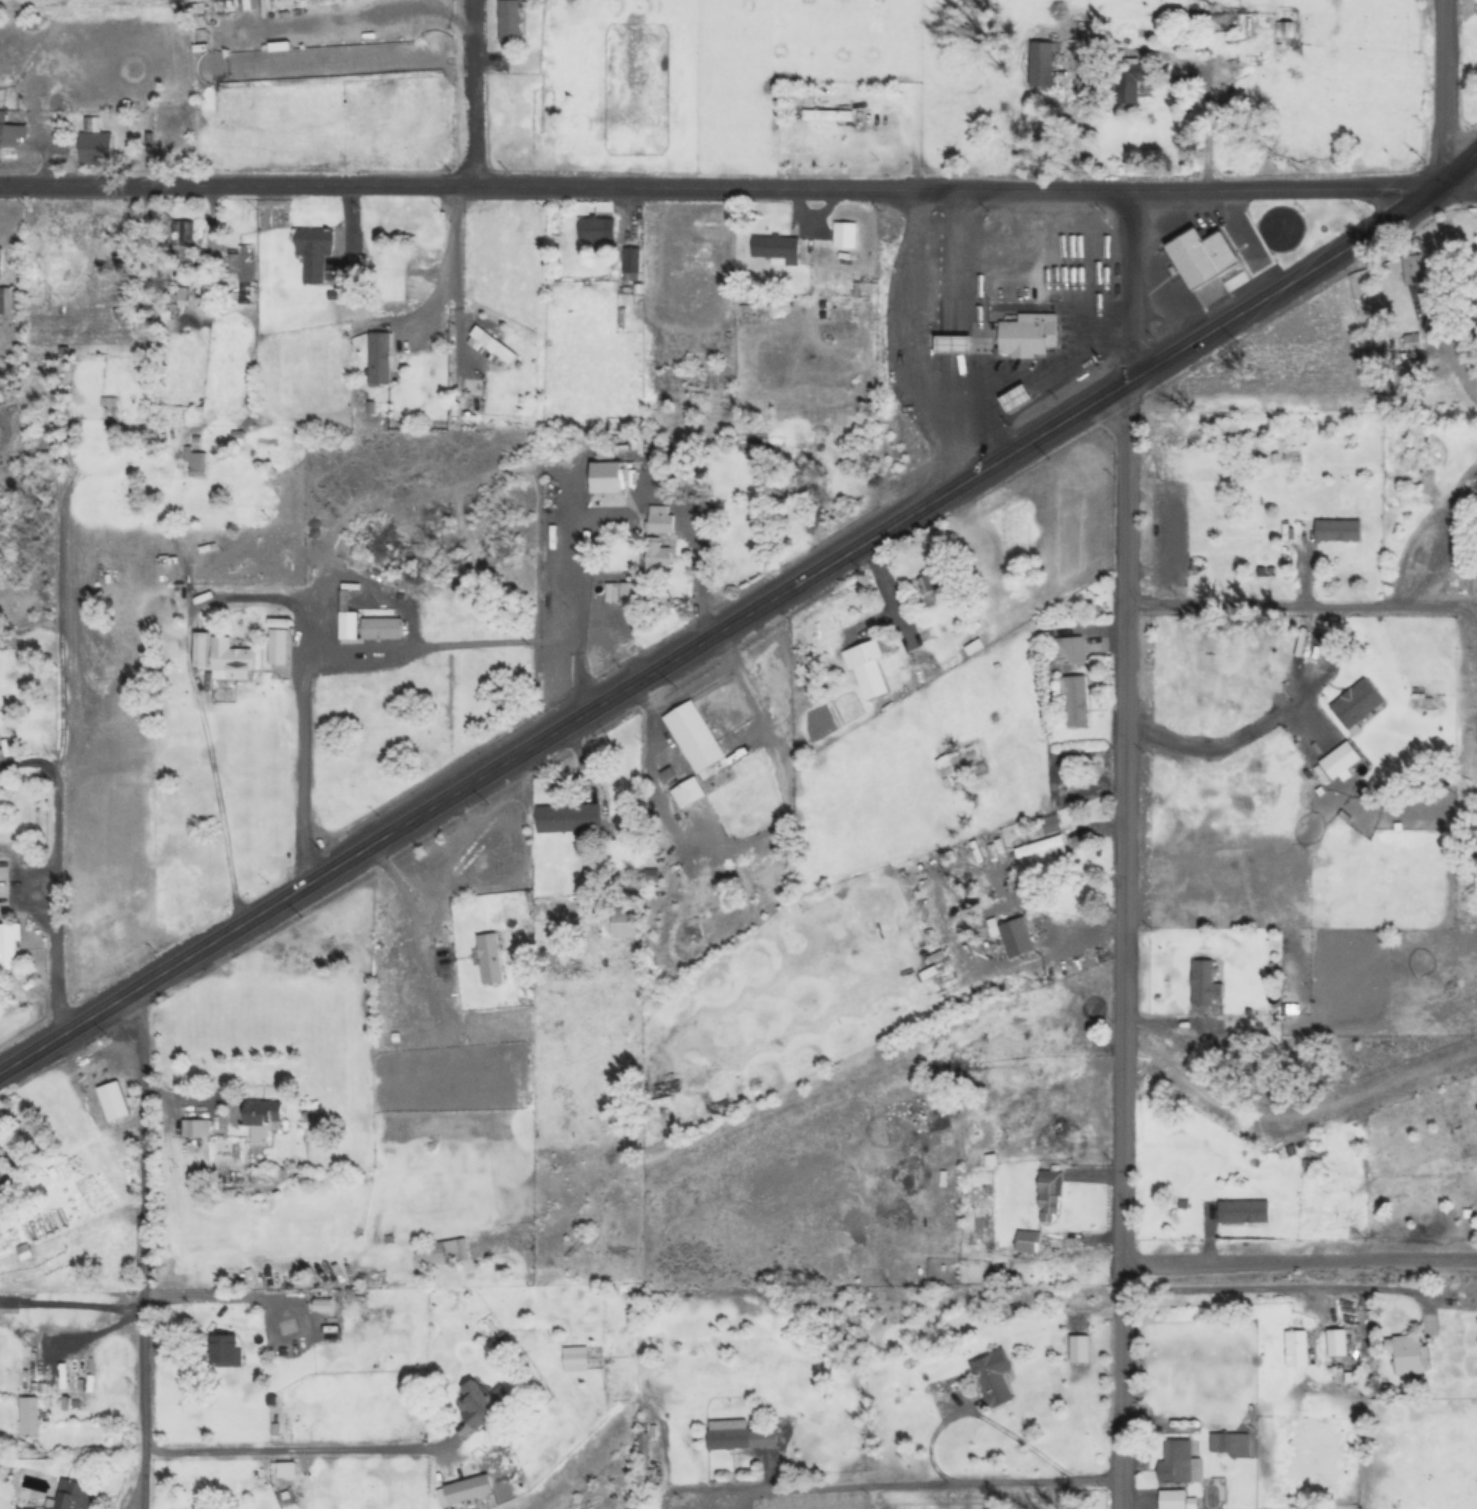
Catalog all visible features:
building: (511, 24)
building: (1284, 30)
crop: (768, 37)
building: (1040, 64)
building: (1127, 82)
road: (473, 92)
road: (1442, 94)
building: (826, 116)
building: (10, 132)
building: (94, 144)
road: (720, 186)
road: (1459, 189)
building: (592, 229)
building: (181, 233)
building: (844, 235)
building: (776, 249)
building: (313, 253)
building: (1200, 257)
building: (0, 262)
building: (242, 263)
building: (630, 264)
building: (1413, 271)
road: (1129, 285)
building: (106, 299)
building: (7, 300)
building: (1027, 336)
building: (492, 345)
building: (378, 358)
building: (1018, 396)
building: (108, 401)
building: (195, 463)
building: (610, 477)
building: (1336, 531)
building: (658, 538)
building: (928, 590)
building: (621, 592)
road: (1288, 606)
road: (741, 618)
building: (380, 628)
building: (1067, 649)
building: (230, 661)
building: (866, 670)
building: (1074, 701)
building: (1355, 704)
building: (688, 729)
building: (1338, 761)
building: (949, 768)
building: (687, 793)
building: (566, 817)
building: (1050, 824)
building: (1040, 847)
road: (59, 888)
building: (622, 924)
building: (1015, 937)
road: (1125, 945)
building: (8, 946)
building: (1204, 983)
building: (1072, 1007)
building: (1070, 1041)
crop: (645, 1092)
building: (412, 1094)
building: (112, 1101)
building: (260, 1118)
building: (194, 1128)
building: (2, 1173)
building: (1047, 1199)
building: (1242, 1211)
building: (1026, 1241)
road: (144, 1245)
building: (24, 1251)
building: (441, 1251)
road: (1299, 1258)
building: (1335, 1342)
building: (1296, 1348)
building: (1077, 1349)
building: (223, 1350)
building: (1408, 1355)
building: (991, 1378)
building: (475, 1407)
building: (29, 1416)
building: (736, 1436)
building: (1224, 1445)
building: (641, 1457)
building: (1177, 1462)
road: (906, 1492)
building: (71, 1496)
building: (1171, 1499)

